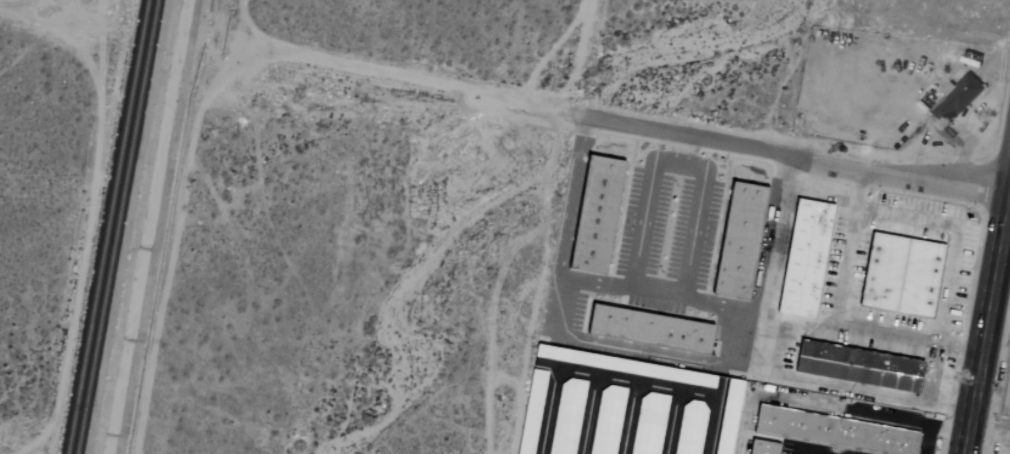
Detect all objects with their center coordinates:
road: (42, 9)
road: (413, 80)
building: (950, 97)
road: (793, 153)
road: (571, 196)
road: (646, 201)
building: (592, 216)
road: (906, 217)
railway: (107, 227)
railway: (115, 227)
road: (557, 227)
road: (692, 227)
building: (735, 242)
building: (802, 260)
building: (898, 276)
road: (946, 288)
road: (732, 311)
road: (986, 317)
road: (836, 318)
building: (645, 328)
road: (803, 328)
road: (768, 363)
building: (855, 366)
road: (930, 373)
building: (529, 412)
building: (726, 416)
building: (565, 417)
building: (605, 420)
building: (648, 423)
building: (688, 428)
building: (833, 431)
building: (759, 447)
road: (818, 448)

